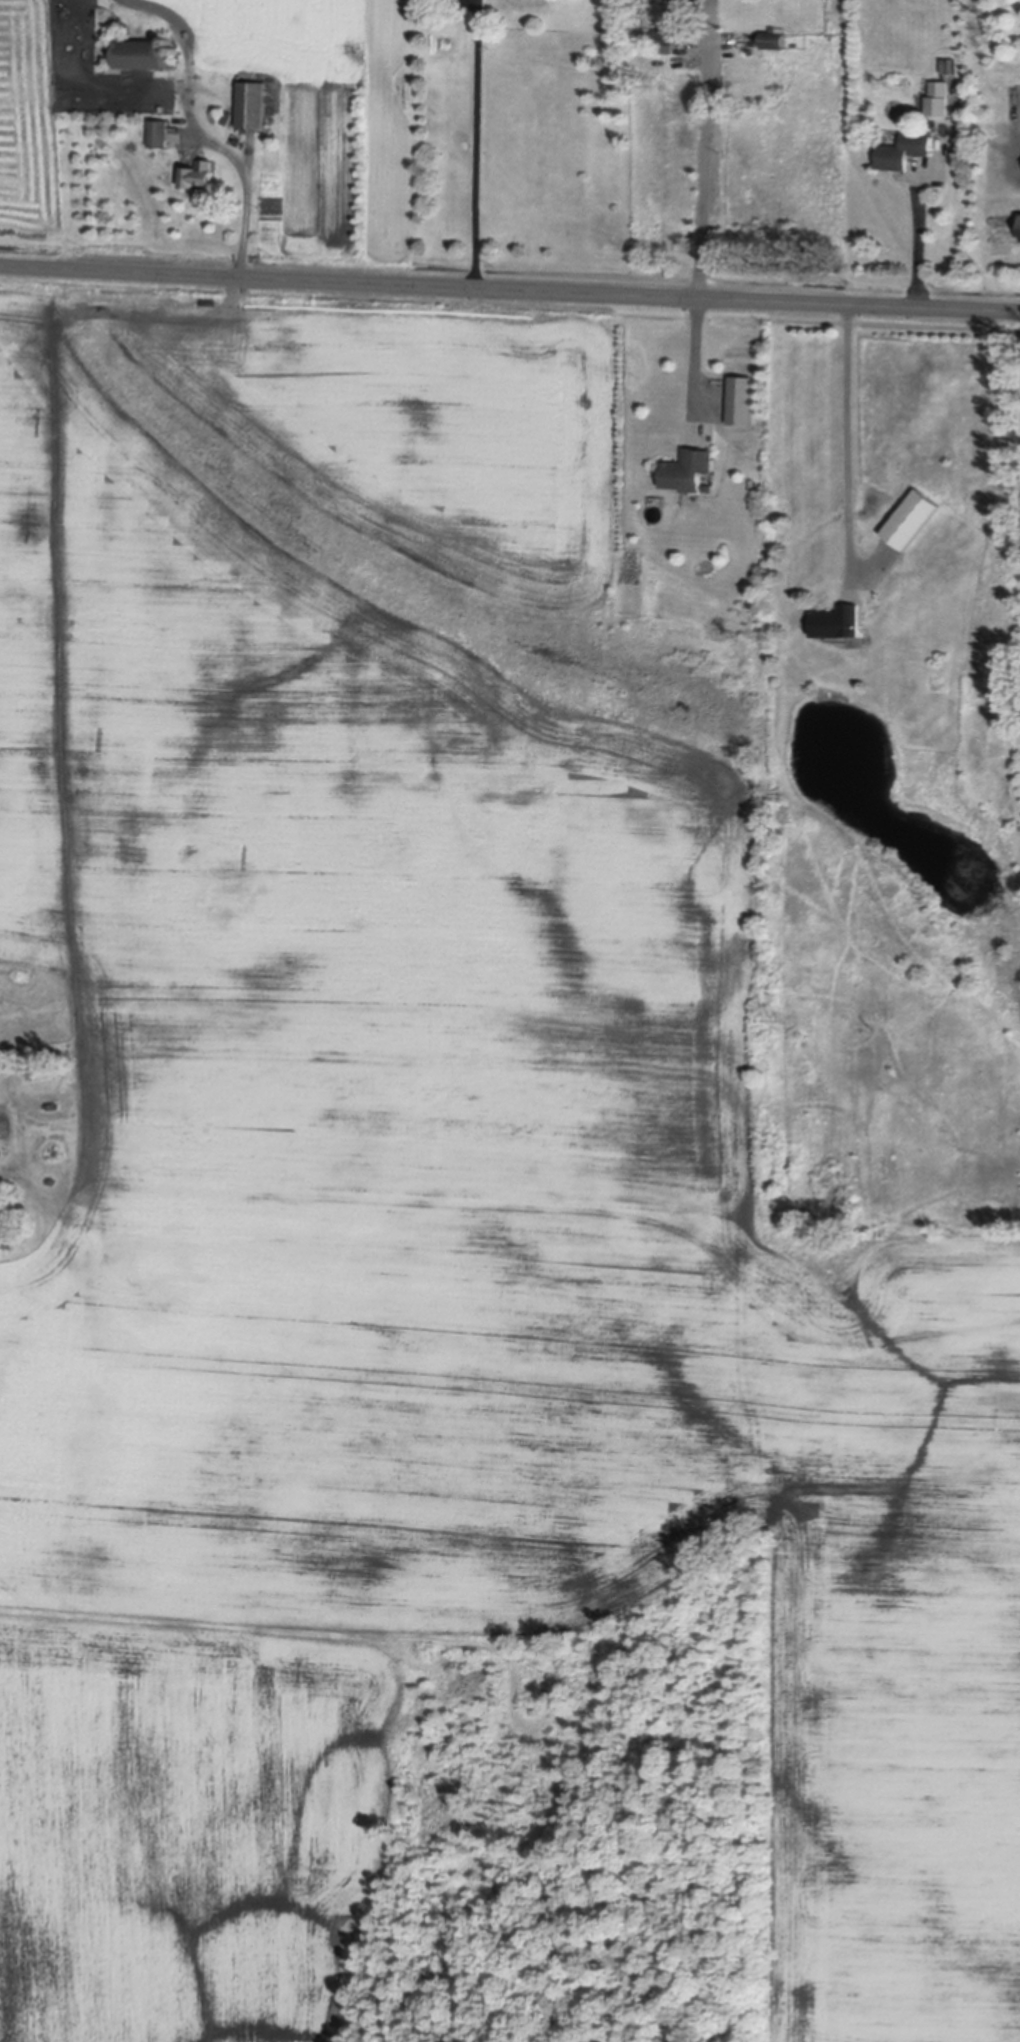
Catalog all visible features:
building: (771, 38)
building: (169, 40)
building: (664, 40)
building: (141, 54)
building: (940, 89)
building: (252, 103)
building: (159, 133)
road: (478, 144)
road: (705, 149)
building: (904, 150)
building: (199, 174)
road: (247, 184)
building: (1004, 228)
road: (918, 240)
road: (509, 290)
road: (698, 360)
road: (850, 436)
building: (690, 470)
building: (709, 488)
building: (911, 520)
building: (838, 622)
building: (73, 1085)
building: (9, 1247)

